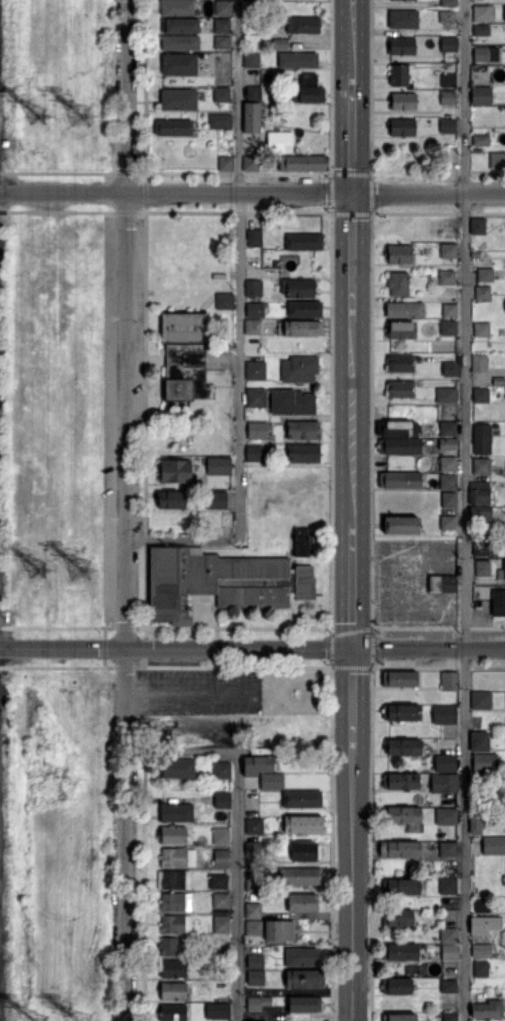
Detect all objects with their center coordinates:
building: (402, 0)
building: (448, 2)
building: (177, 7)
building: (223, 8)
building: (483, 14)
building: (447, 17)
building: (403, 19)
building: (180, 25)
building: (222, 26)
building: (304, 26)
building: (481, 30)
road: (353, 31)
building: (222, 42)
building: (180, 43)
building: (280, 44)
building: (449, 44)
building: (401, 45)
building: (481, 54)
building: (251, 60)
building: (298, 60)
building: (222, 63)
building: (178, 64)
building: (481, 74)
building: (399, 75)
building: (448, 81)
building: (305, 90)
building: (254, 93)
building: (222, 95)
building: (481, 96)
building: (448, 98)
building: (178, 99)
building: (403, 101)
power tower: (44, 111)
power tower: (83, 111)
building: (252, 118)
building: (220, 121)
building: (448, 125)
building: (401, 127)
building: (173, 128)
road: (353, 128)
building: (481, 140)
building: (278, 141)
building: (5, 143)
building: (256, 146)
building: (497, 160)
building: (226, 163)
building: (251, 163)
building: (303, 163)
road: (176, 192)
traffic signals: (352, 195)
road: (428, 195)
building: (478, 226)
building: (255, 237)
building: (304, 242)
building: (448, 251)
building: (398, 253)
building: (475, 253)
road: (352, 255)
road: (240, 264)
building: (485, 274)
building: (446, 277)
building: (398, 284)
building: (256, 288)
building: (298, 288)
building: (482, 293)
building: (224, 301)
building: (256, 309)
building: (305, 309)
building: (405, 310)
building: (449, 311)
building: (256, 326)
building: (303, 328)
building: (447, 328)
building: (482, 329)
building: (400, 330)
building: (185, 359)
building: (399, 363)
building: (479, 363)
building: (299, 369)
building: (451, 369)
building: (256, 370)
building: (400, 389)
building: (446, 395)
building: (481, 395)
building: (255, 398)
building: (292, 402)
road: (353, 417)
building: (398, 428)
building: (447, 428)
building: (257, 430)
building: (304, 431)
building: (482, 438)
building: (448, 444)
building: (399, 446)
building: (254, 453)
building: (303, 453)
building: (447, 464)
building: (216, 466)
building: (482, 466)
building: (174, 471)
building: (400, 480)
building: (447, 480)
building: (480, 493)
building: (170, 499)
building: (216, 500)
building: (448, 500)
road: (125, 510)
road: (464, 510)
building: (482, 512)
building: (447, 523)
building: (401, 525)
building: (484, 531)
road: (186, 540)
building: (301, 542)
building: (479, 549)
power tower: (42, 567)
building: (483, 568)
power tower: (83, 571)
building: (501, 574)
building: (222, 582)
road: (353, 583)
building: (443, 584)
building: (498, 602)
road: (252, 647)
traffic signals: (353, 648)
building: (400, 679)
building: (451, 679)
road: (186, 691)
parking lot: (197, 691)
road: (353, 697)
building: (481, 700)
building: (401, 713)
building: (447, 714)
building: (480, 742)
building: (402, 746)
road: (181, 749)
building: (484, 763)
building: (258, 764)
building: (450, 766)
building: (177, 769)
building: (224, 769)
building: (480, 781)
building: (272, 782)
building: (401, 782)
building: (448, 783)
building: (302, 799)
building: (223, 800)
building: (176, 813)
building: (446, 815)
building: (405, 816)
building: (477, 823)
building: (305, 824)
building: (255, 826)
building: (173, 835)
building: (222, 836)
building: (494, 845)
building: (253, 849)
building: (401, 849)
building: (448, 849)
building: (306, 852)
building: (174, 858)
building: (222, 858)
building: (300, 876)
building: (173, 879)
building: (218, 881)
building: (251, 884)
road: (353, 884)
road: (236, 885)
building: (449, 885)
building: (401, 887)
building: (221, 900)
building: (175, 902)
building: (303, 903)
building: (483, 905)
building: (253, 911)
building: (399, 918)
building: (176, 925)
building: (222, 925)
building: (487, 925)
building: (254, 928)
building: (279, 931)
building: (449, 936)
building: (170, 947)
building: (482, 951)
building: (401, 952)
building: (451, 952)
building: (302, 957)
building: (256, 962)
building: (201, 964)
building: (174, 969)
building: (484, 969)
building: (256, 978)
building: (305, 979)
building: (397, 987)
building: (449, 987)
building: (221, 990)
building: (174, 992)
building: (499, 993)
building: (259, 1004)
building: (279, 1004)
building: (306, 1004)
building: (489, 1010)
building: (222, 1012)
building: (173, 1013)
building: (451, 1017)
building: (400, 1018)
power tower: (85, 1019)
building: (263, 1020)

